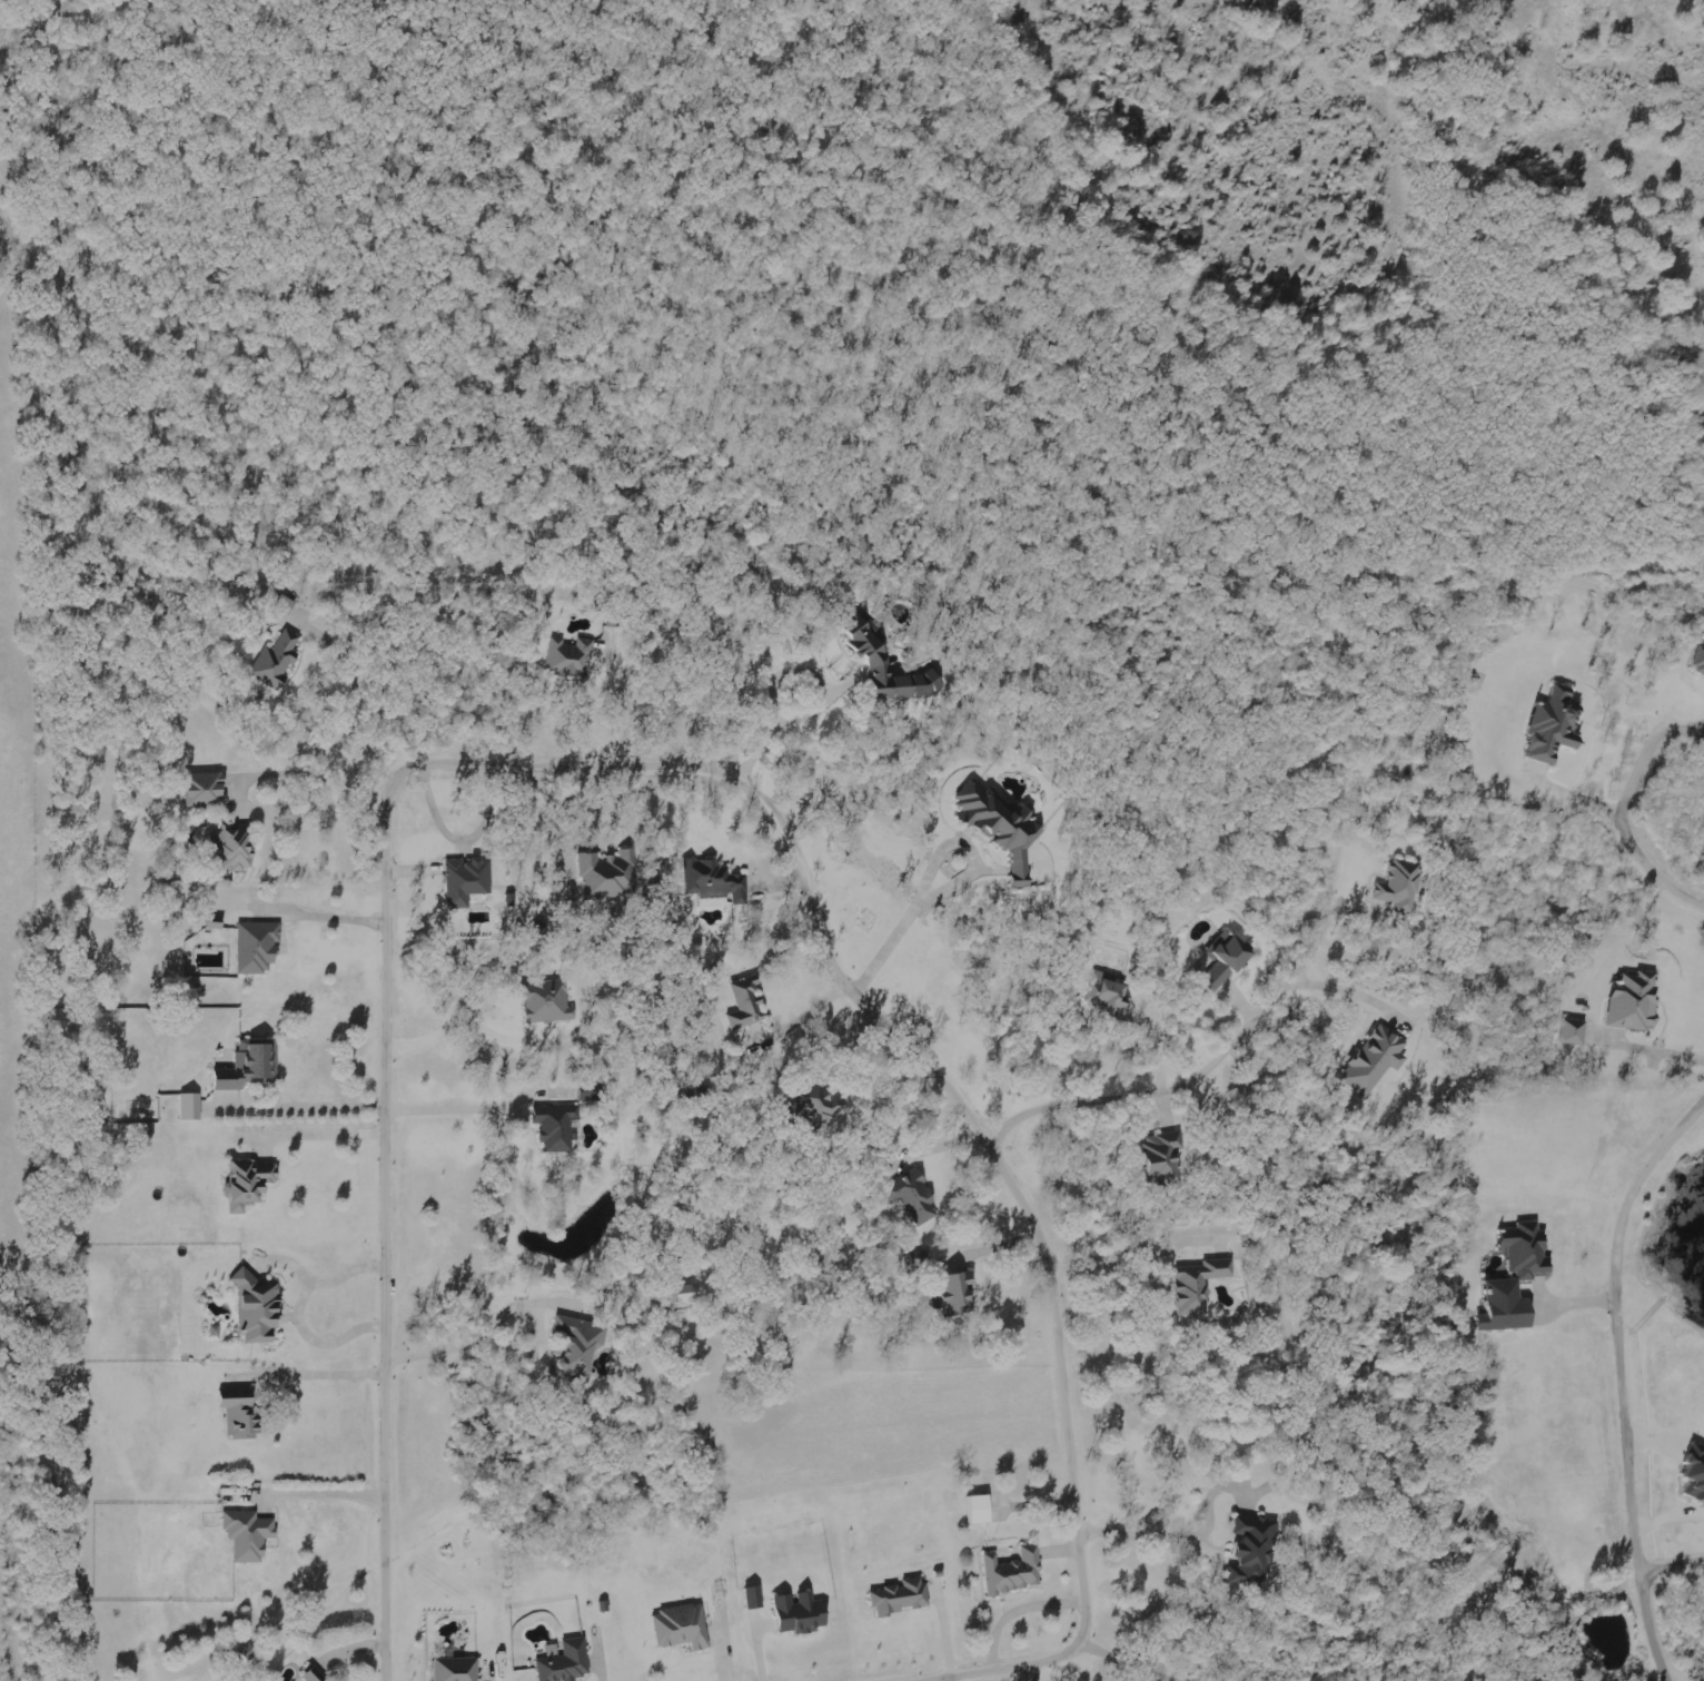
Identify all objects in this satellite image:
building: (287, 603)
building: (573, 655)
building: (279, 660)
building: (1700, 661)
building: (880, 662)
road: (821, 706)
building: (1556, 725)
road: (696, 761)
building: (208, 789)
road: (1622, 812)
building: (1005, 825)
building: (235, 844)
building: (610, 873)
building: (468, 879)
building: (715, 880)
building: (1403, 882)
building: (259, 946)
building: (1228, 958)
building: (1110, 997)
building: (548, 1000)
building: (1636, 1000)
building: (747, 1002)
building: (1575, 1031)
road: (1246, 1038)
building: (1377, 1059)
building: (250, 1066)
building: (818, 1104)
building: (191, 1106)
road: (447, 1107)
building: (558, 1126)
building: (1165, 1157)
building: (251, 1183)
building: (1518, 1277)
building: (1201, 1284)
building: (958, 1295)
building: (260, 1308)
road: (509, 1346)
building: (579, 1348)
road: (1616, 1377)
building: (242, 1412)
building: (1696, 1471)
building: (983, 1509)
building: (250, 1534)
building: (1255, 1550)
road: (1670, 1569)
building: (1016, 1571)
building: (755, 1596)
building: (903, 1596)
building: (802, 1612)
building: (683, 1626)
building: (568, 1662)
building: (458, 1669)
building: (316, 1675)

